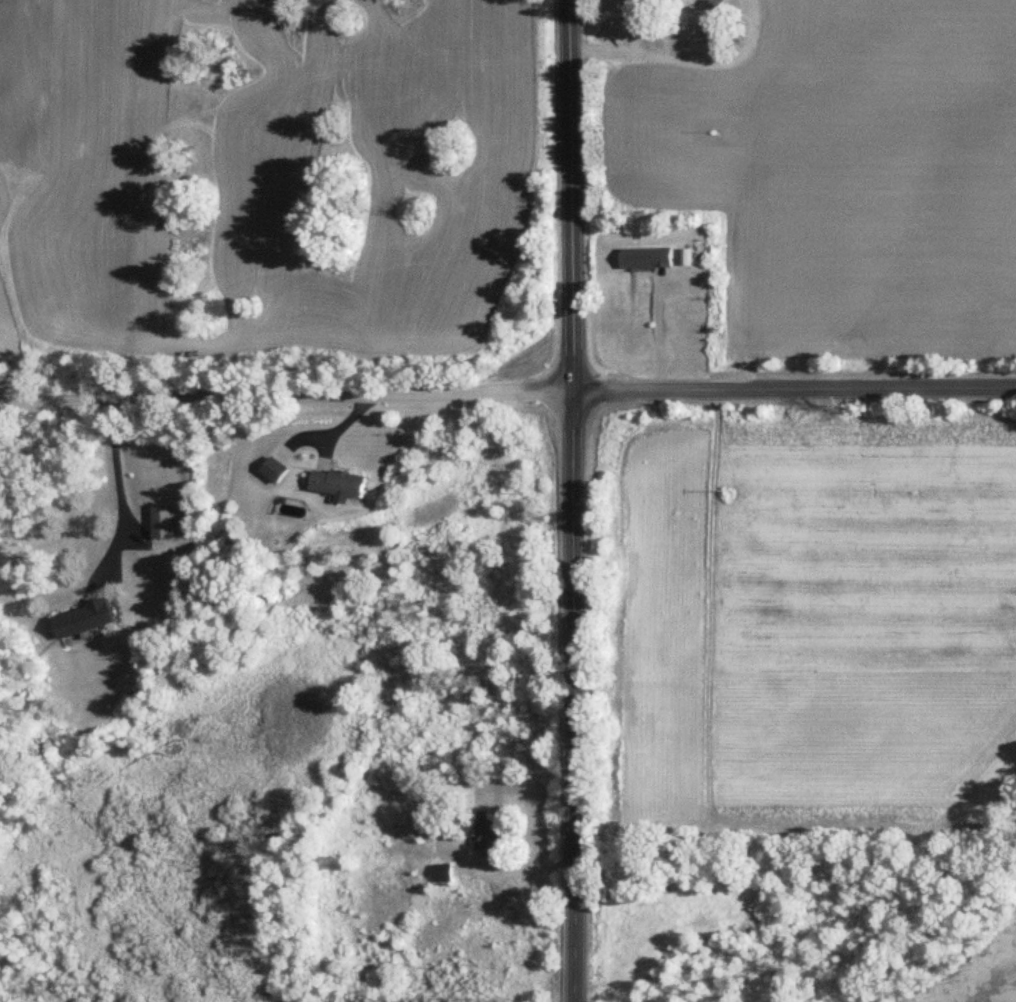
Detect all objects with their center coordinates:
road: (686, 62)
building: (647, 258)
road: (507, 390)
building: (275, 470)
building: (338, 483)
road: (119, 487)
road: (572, 500)
building: (163, 522)
building: (83, 619)
building: (486, 834)
building: (443, 872)

